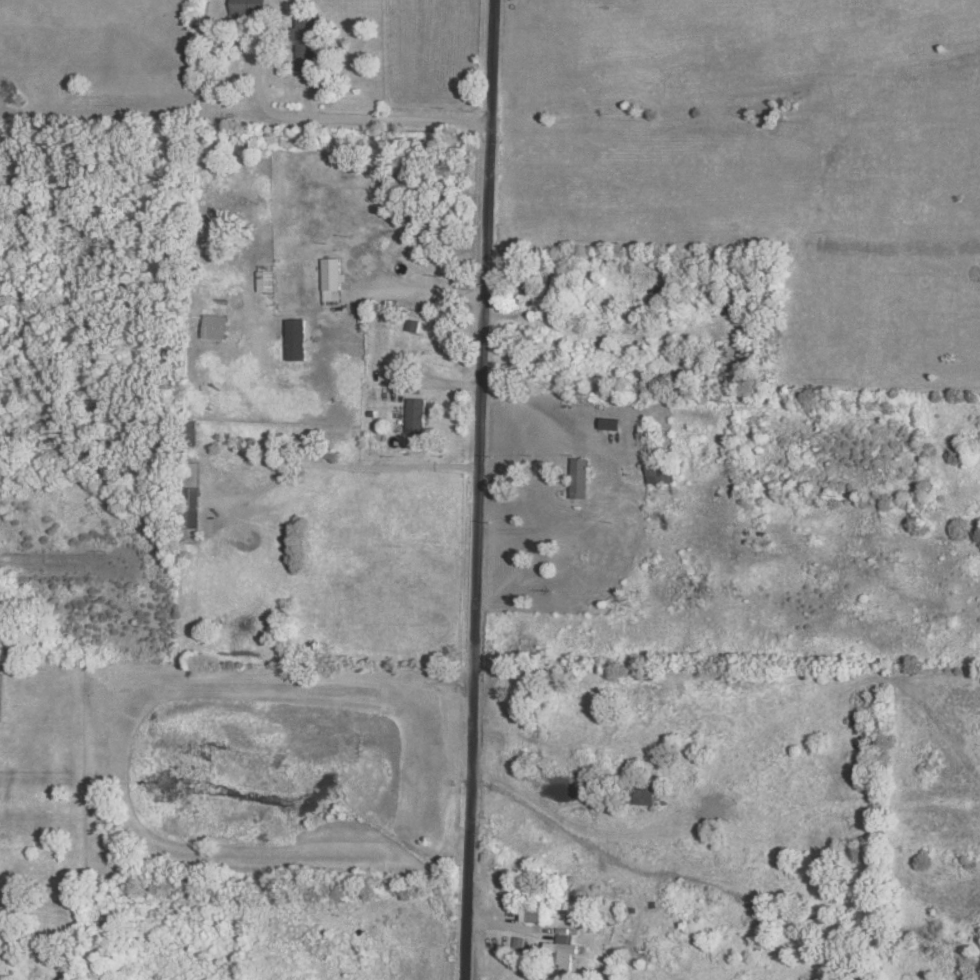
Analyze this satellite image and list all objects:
building: (249, 7)
building: (309, 41)
road: (376, 121)
building: (333, 279)
building: (267, 280)
building: (555, 288)
building: (414, 325)
building: (215, 326)
road: (536, 411)
building: (417, 415)
building: (612, 424)
building: (646, 433)
building: (659, 471)
building: (580, 478)
road: (478, 489)
building: (190, 507)
road: (534, 531)
road: (65, 569)
building: (646, 794)
building: (535, 913)

